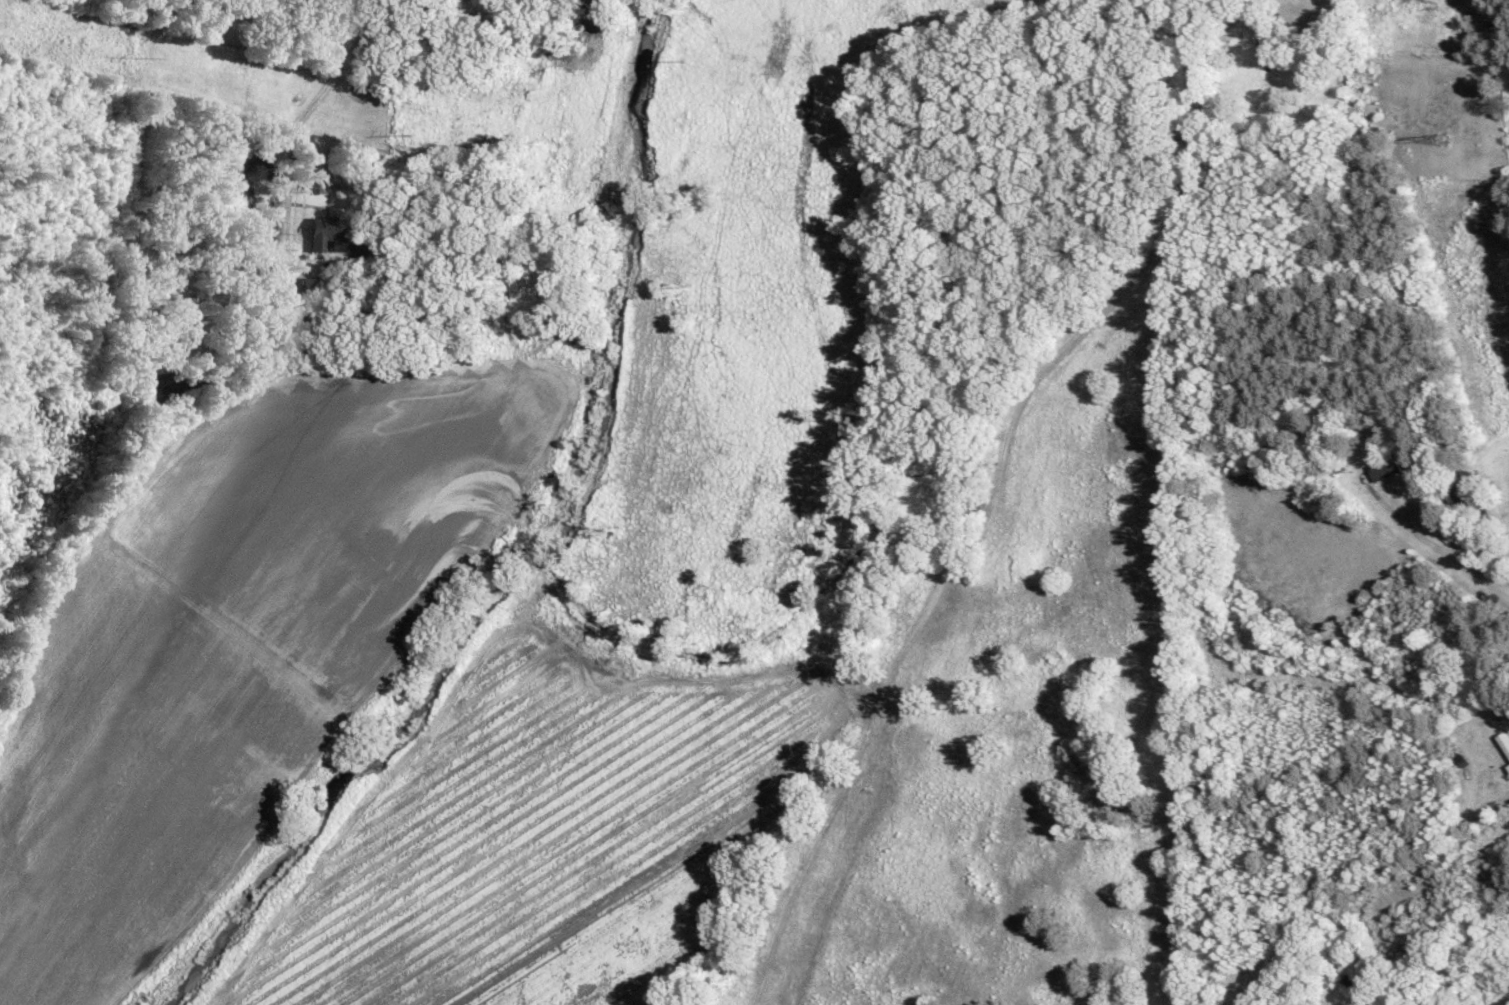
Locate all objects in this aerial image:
road: (342, 64)
power tower: (1439, 139)
road: (288, 197)
building: (327, 232)
building: (1385, 467)
building: (1458, 485)
road: (1431, 543)
road: (1479, 581)
building: (1504, 741)
building: (1508, 766)

